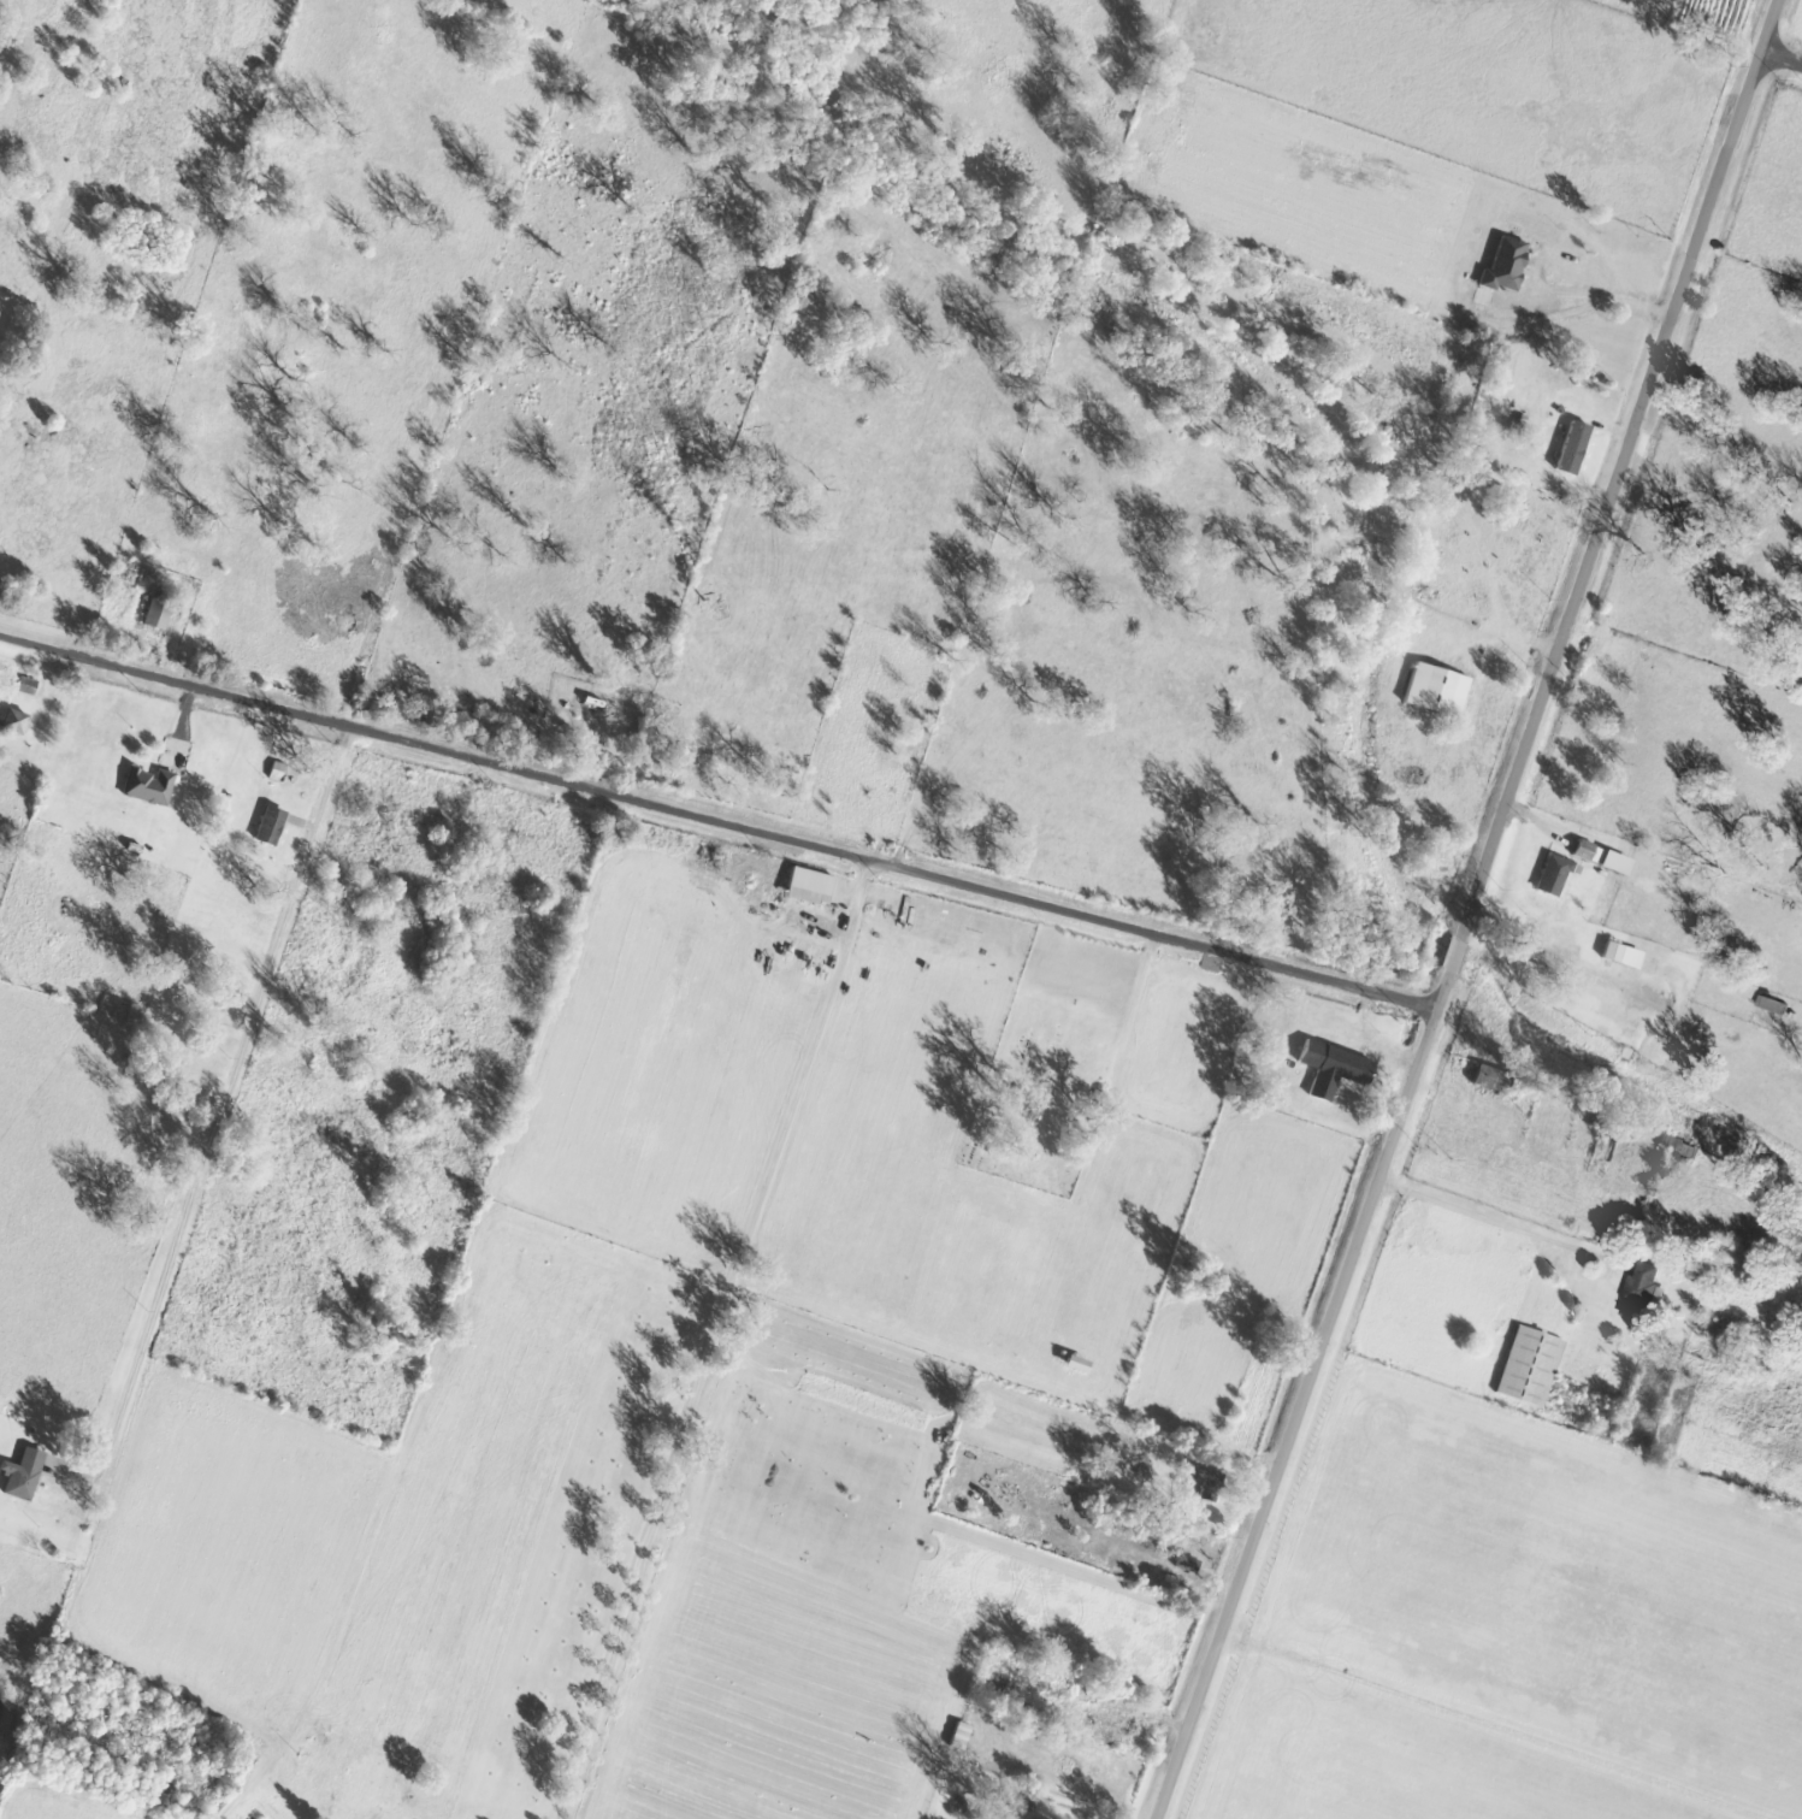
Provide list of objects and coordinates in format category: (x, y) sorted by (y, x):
road: (1782, 46)
building: (1505, 264)
building: (1558, 441)
building: (1576, 448)
road: (1614, 467)
building: (155, 607)
building: (24, 684)
building: (1435, 689)
building: (12, 719)
building: (172, 749)
building: (277, 770)
building: (147, 784)
road: (1534, 809)
road: (715, 819)
building: (270, 822)
building: (1606, 857)
building: (1553, 870)
building: (808, 885)
building: (1560, 938)
road: (1552, 949)
road: (1449, 953)
building: (1644, 956)
building: (1776, 1004)
building: (1331, 1067)
building: (1682, 1145)
road: (1500, 1218)
road: (177, 1246)
building: (1639, 1288)
road: (711, 1336)
building: (1081, 1364)
building: (1528, 1365)
road: (1304, 1395)
road: (66, 1470)
building: (20, 1476)
road: (1223, 1504)
building: (1190, 1564)
road: (1153, 1714)
building: (1107, 1718)
building: (963, 1736)

